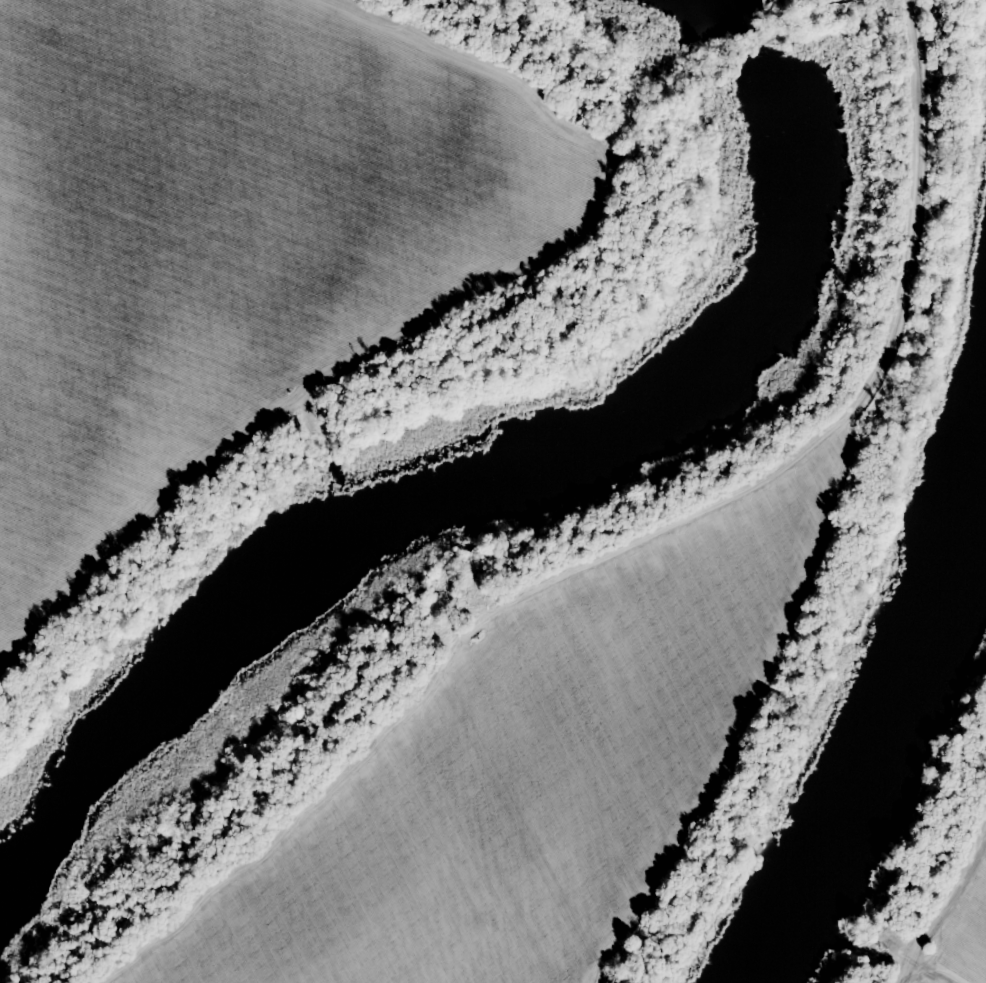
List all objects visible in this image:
road: (883, 7)
river: (701, 19)
road: (919, 223)
river: (495, 471)
river: (20, 816)
river: (20, 855)
road: (938, 905)
river: (775, 942)

